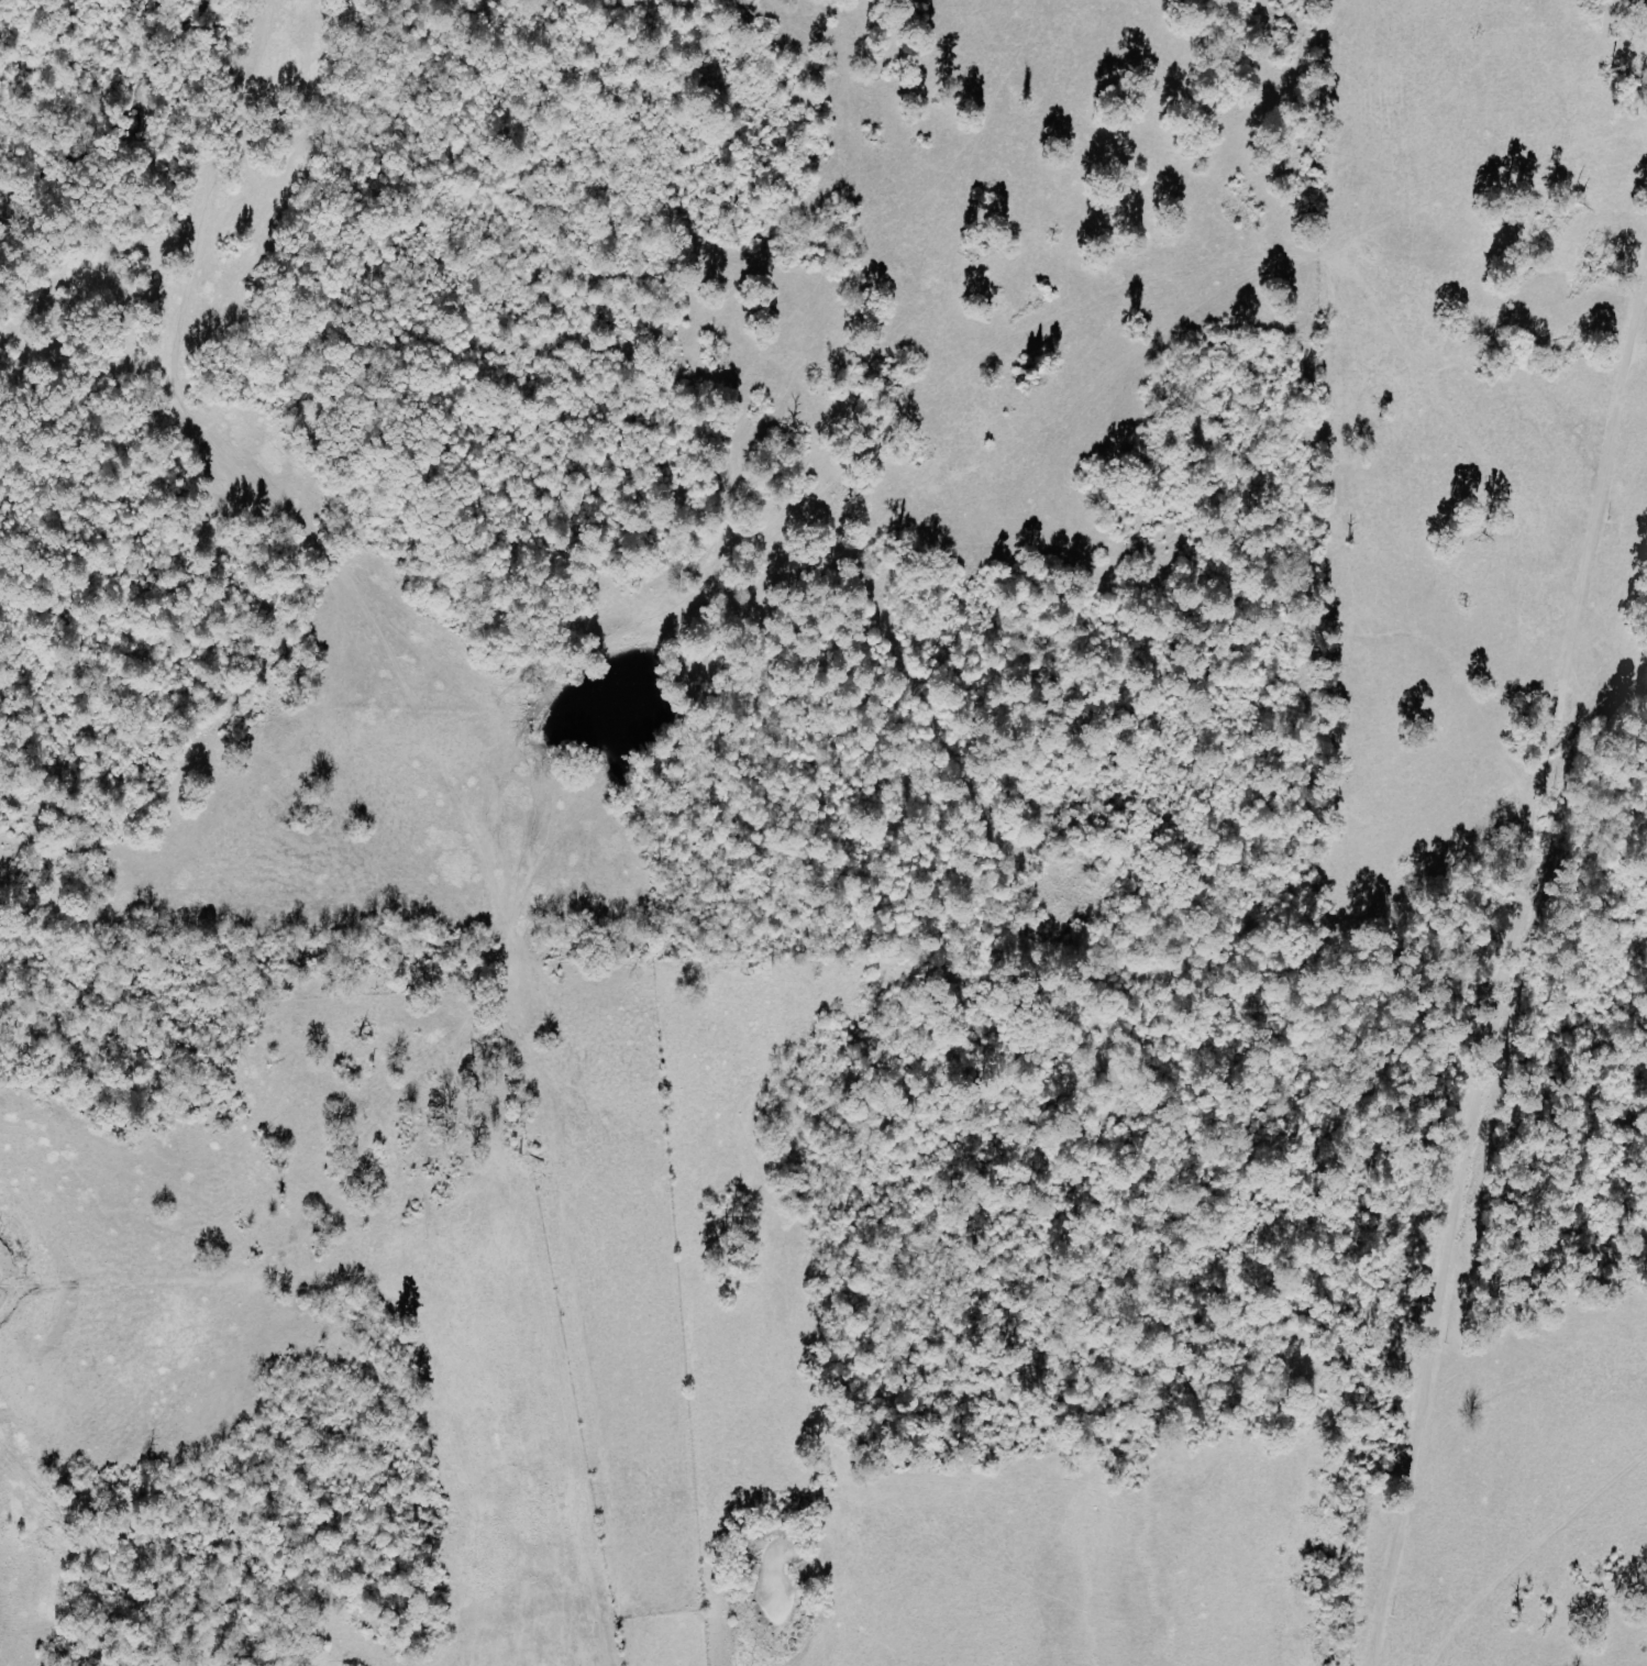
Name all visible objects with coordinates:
road: (1549, 924)

